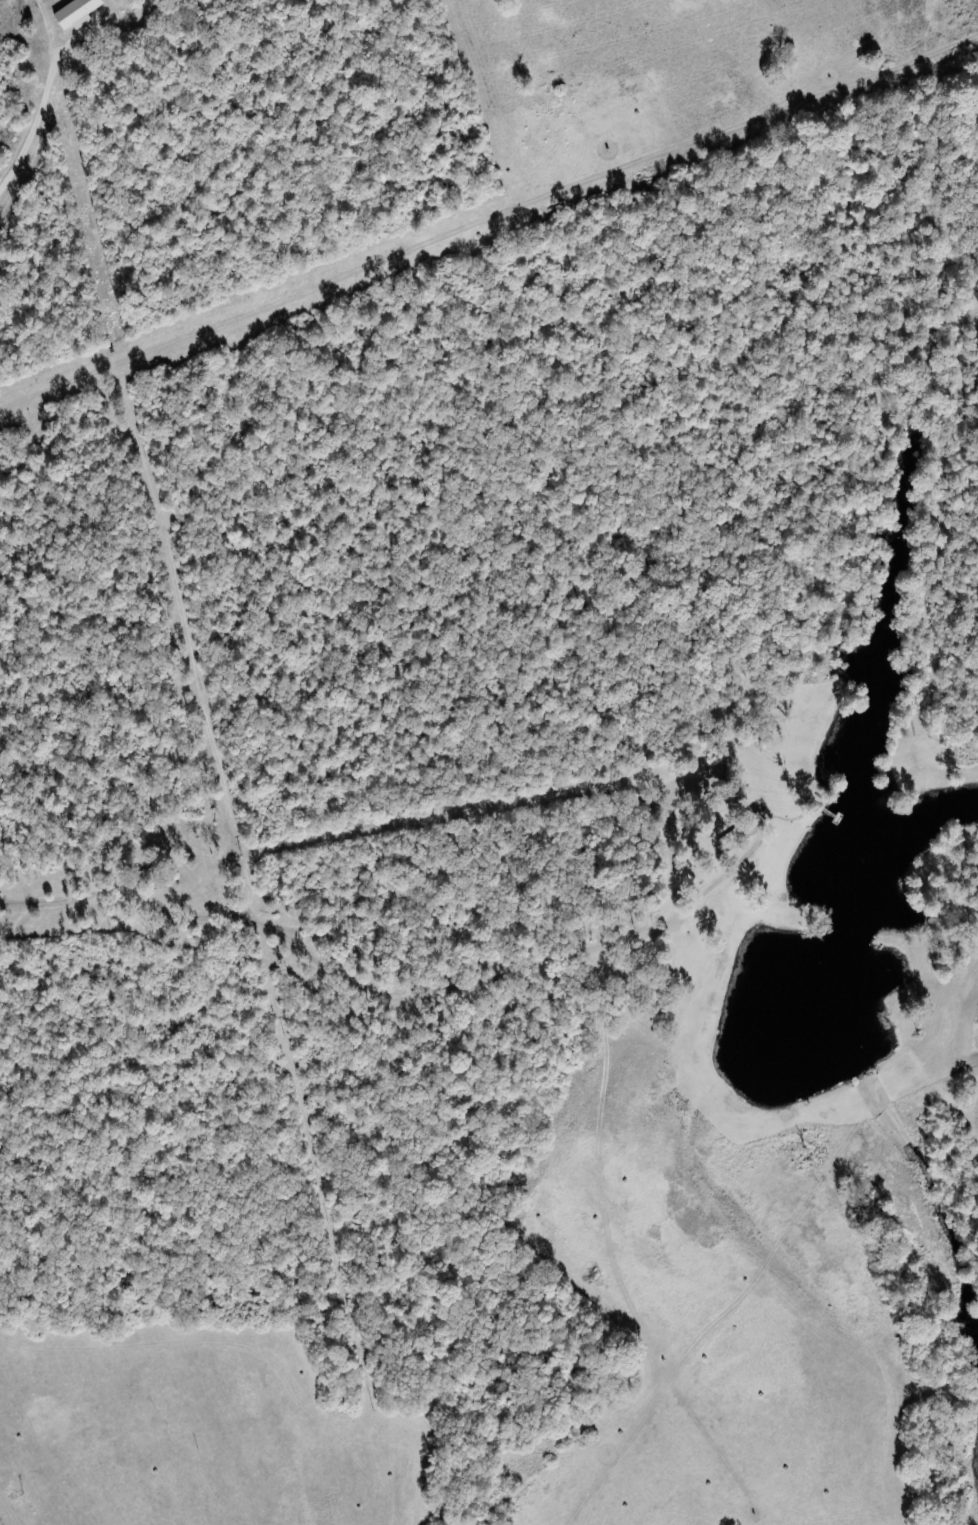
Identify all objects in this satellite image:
building: (79, 13)
road: (43, 123)
road: (357, 980)

